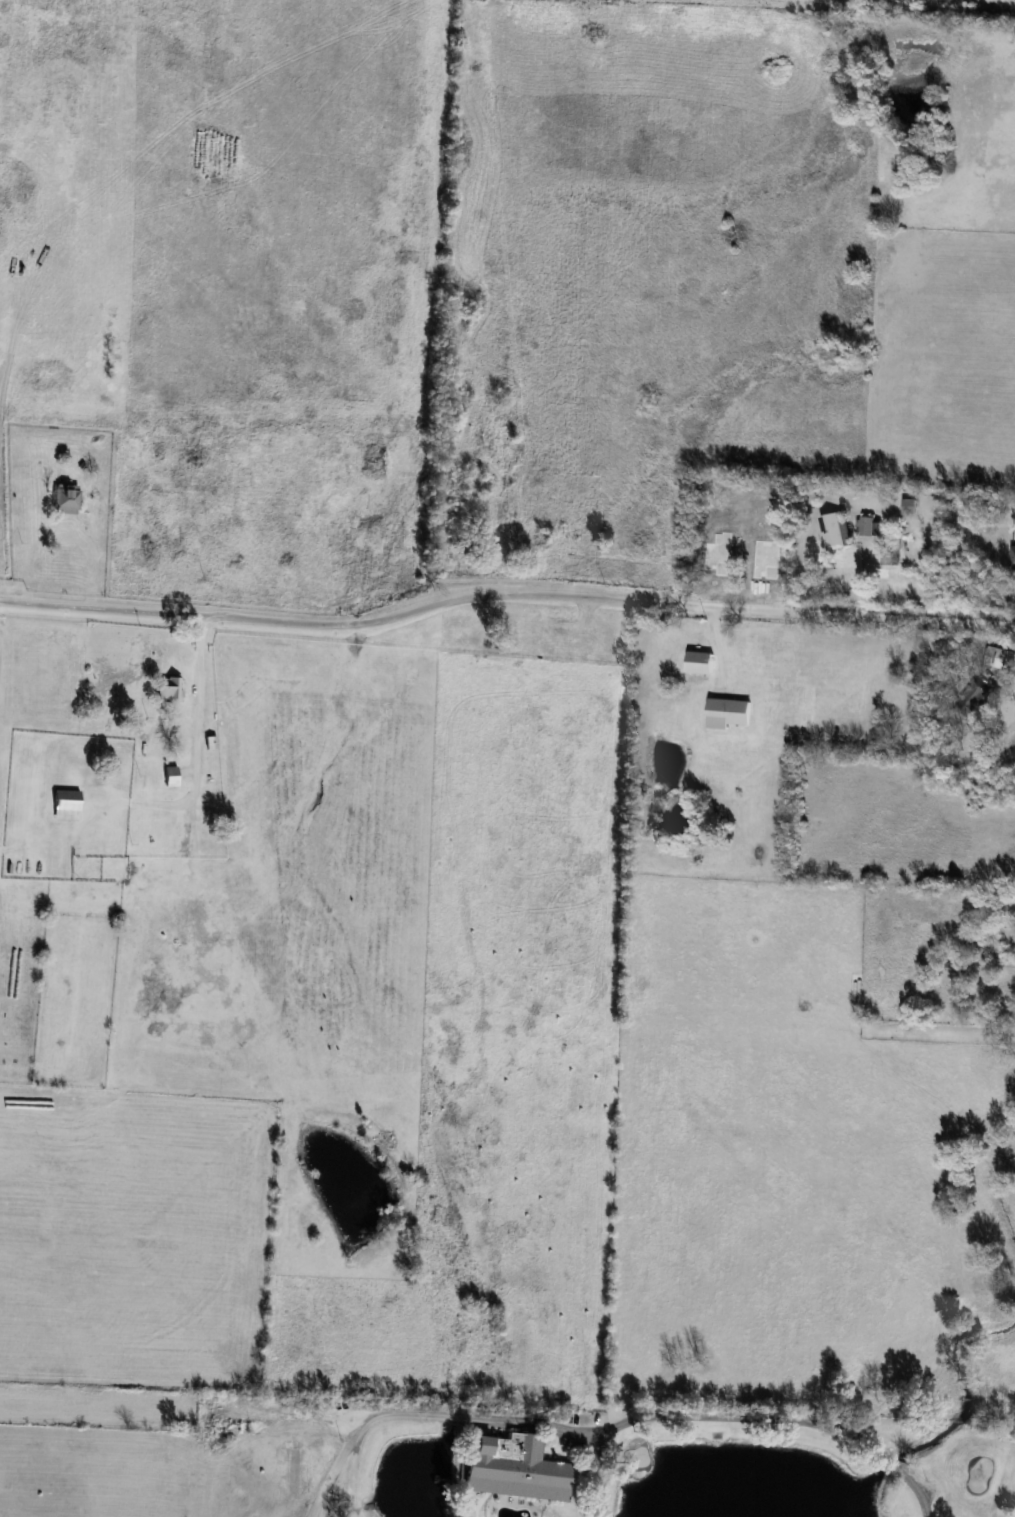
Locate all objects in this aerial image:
building: (66, 500)
building: (909, 505)
building: (833, 530)
building: (889, 556)
road: (505, 594)
building: (1005, 658)
building: (699, 666)
building: (168, 687)
building: (972, 697)
building: (728, 712)
road: (197, 738)
building: (171, 776)
building: (66, 804)
road: (657, 1420)
building: (514, 1468)
road: (333, 1474)

